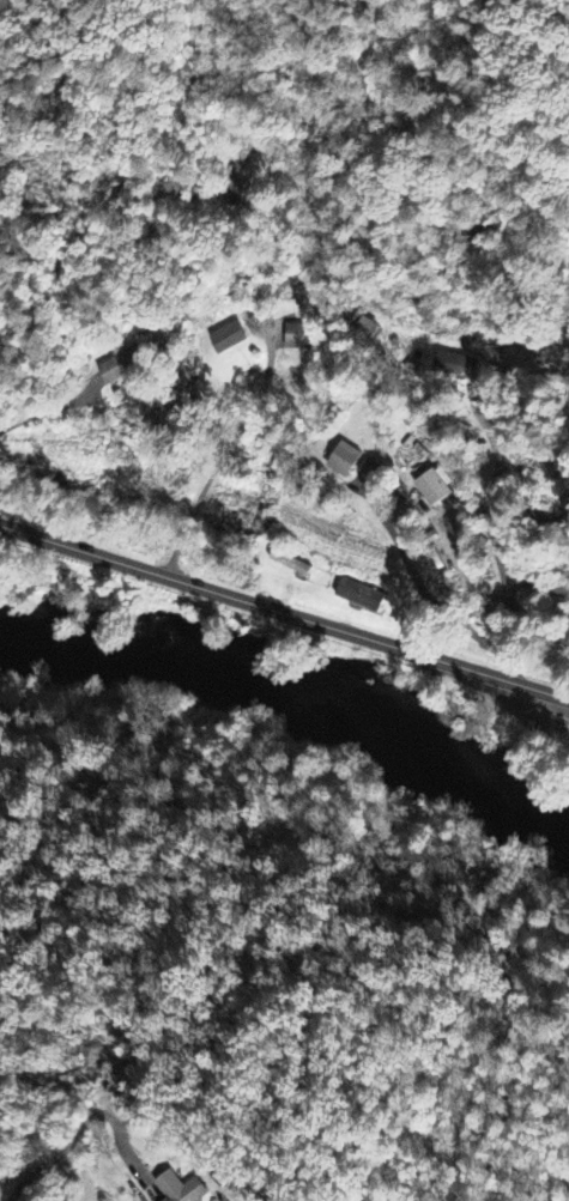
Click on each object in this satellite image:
building: (240, 195)
building: (298, 339)
building: (226, 340)
road: (270, 346)
building: (121, 366)
building: (455, 366)
building: (344, 461)
building: (434, 489)
road: (491, 517)
building: (289, 565)
building: (359, 596)
road: (284, 612)
river: (301, 686)
building: (181, 1188)

